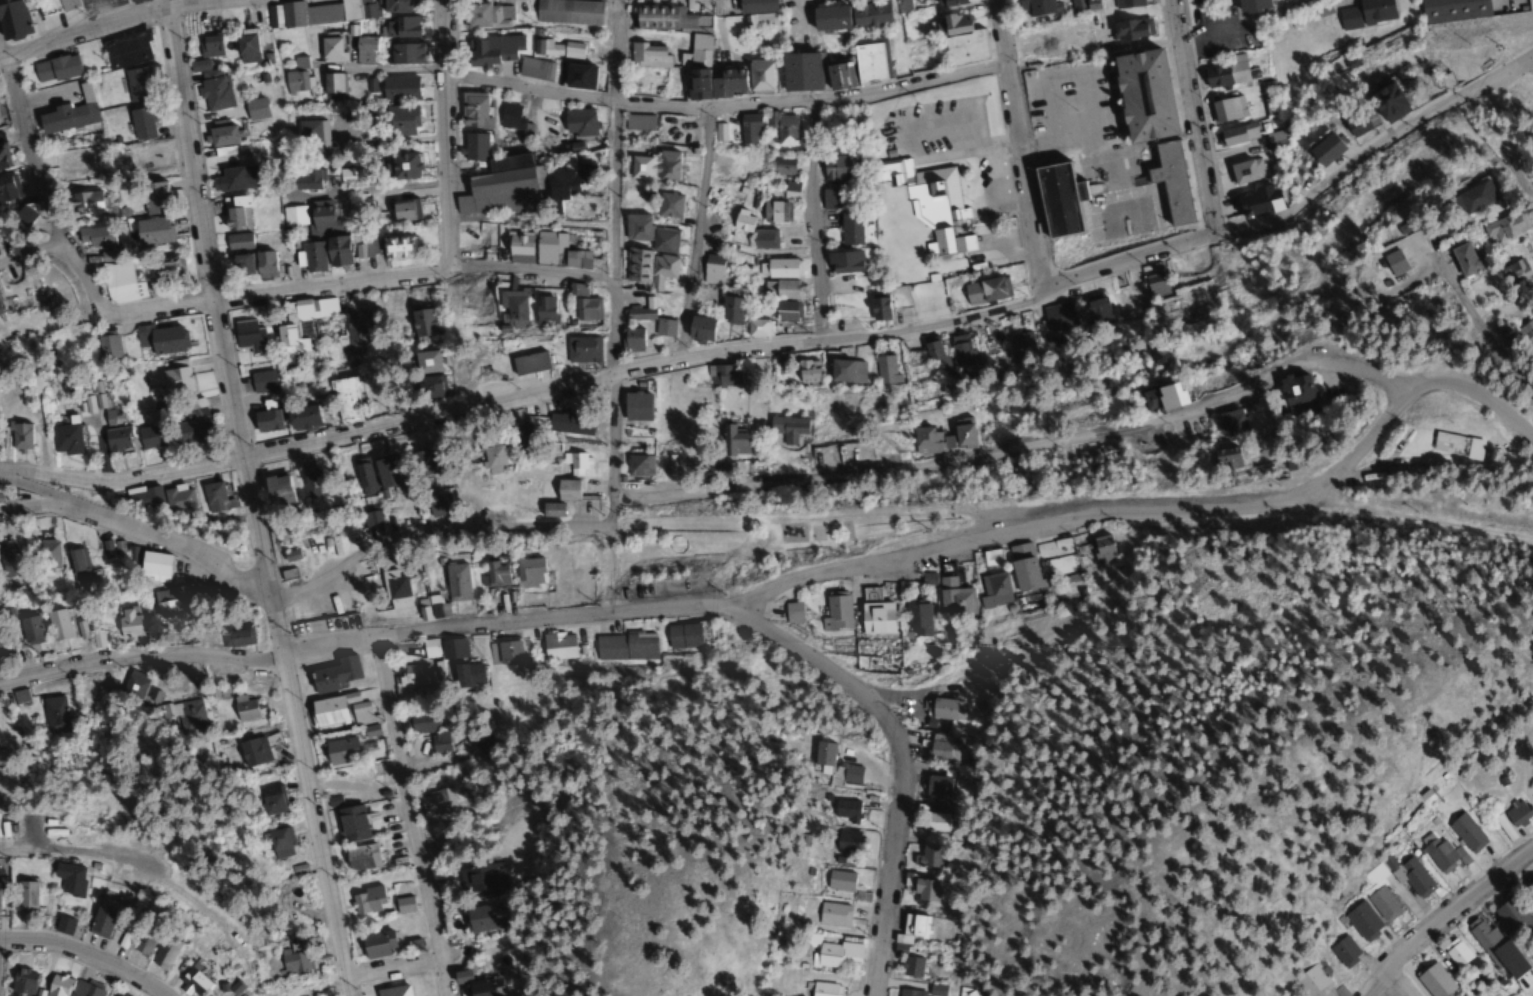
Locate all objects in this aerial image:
building: (949, 3)
building: (1126, 3)
building: (66, 4)
building: (393, 5)
parking lot: (1508, 5)
building: (902, 7)
building: (1036, 7)
building: (1249, 7)
building: (1453, 9)
building: (568, 11)
building: (316, 13)
building: (758, 13)
building: (1366, 13)
building: (487, 15)
building: (869, 16)
building: (661, 17)
building: (11, 18)
building: (828, 19)
road: (121, 22)
building: (703, 22)
building: (399, 26)
building: (1131, 28)
building: (962, 42)
building: (210, 45)
building: (245, 45)
building: (557, 48)
building: (127, 49)
building: (330, 49)
building: (492, 49)
building: (700, 49)
building: (363, 50)
road: (617, 52)
building: (404, 53)
building: (649, 55)
building: (870, 61)
building: (63, 66)
road: (383, 67)
building: (534, 68)
building: (799, 72)
building: (1224, 72)
building: (759, 75)
building: (577, 76)
building: (298, 77)
building: (837, 77)
building: (1443, 80)
building: (140, 81)
building: (713, 83)
building: (333, 86)
building: (214, 89)
building: (399, 89)
building: (1141, 94)
building: (1385, 102)
road: (726, 108)
building: (255, 109)
building: (1227, 109)
building: (472, 110)
building: (66, 116)
building: (400, 118)
building: (514, 119)
road: (1190, 119)
building: (1360, 120)
building: (141, 123)
building: (638, 123)
building: (580, 124)
building: (548, 125)
building: (785, 129)
building: (749, 130)
building: (719, 133)
building: (1237, 134)
building: (312, 135)
road: (443, 135)
building: (222, 138)
building: (1276, 139)
road: (1023, 145)
building: (1323, 148)
building: (546, 149)
road: (1374, 153)
building: (4, 157)
building: (403, 165)
building: (655, 167)
building: (781, 167)
building: (837, 168)
building: (74, 169)
building: (585, 169)
building: (1246, 170)
road: (1522, 173)
road: (37, 178)
building: (234, 179)
building: (1170, 181)
building: (509, 182)
building: (7, 188)
building: (790, 190)
road: (613, 191)
building: (1473, 195)
building: (155, 197)
building: (829, 198)
building: (1057, 198)
building: (1261, 200)
building: (88, 202)
building: (929, 202)
building: (667, 208)
building: (401, 209)
building: (774, 211)
building: (235, 212)
building: (22, 215)
road: (816, 219)
building: (741, 221)
building: (635, 227)
building: (850, 227)
building: (1503, 228)
building: (152, 231)
road: (696, 233)
building: (94, 236)
building: (323, 238)
building: (764, 238)
building: (663, 240)
building: (237, 242)
building: (397, 246)
building: (518, 247)
building: (556, 251)
road: (31, 254)
building: (1462, 258)
building: (844, 261)
building: (1392, 262)
building: (263, 263)
building: (238, 265)
building: (636, 265)
building: (782, 267)
building: (711, 269)
building: (1517, 269)
building: (661, 270)
building: (165, 271)
road: (354, 282)
building: (119, 283)
building: (1157, 285)
building: (783, 289)
building: (985, 289)
building: (1131, 299)
building: (583, 304)
building: (514, 305)
building: (1196, 305)
building: (878, 308)
building: (730, 309)
building: (1099, 309)
building: (544, 310)
building: (778, 310)
building: (641, 311)
building: (1059, 317)
building: (422, 322)
building: (302, 323)
building: (664, 327)
building: (756, 327)
building: (699, 328)
building: (1531, 332)
building: (354, 334)
building: (248, 336)
building: (160, 338)
building: (630, 339)
building: (1022, 343)
building: (107, 345)
building: (582, 349)
road: (729, 349)
building: (932, 350)
building: (961, 350)
building: (529, 363)
building: (807, 370)
building: (845, 370)
building: (886, 371)
building: (916, 372)
building: (429, 375)
building: (723, 375)
building: (175, 378)
building: (262, 381)
road: (612, 386)
building: (1294, 390)
building: (1157, 397)
building: (345, 399)
building: (635, 406)
building: (303, 417)
building: (265, 420)
building: (190, 422)
building: (1232, 422)
building: (570, 423)
building: (790, 428)
building: (962, 432)
building: (524, 436)
building: (18, 437)
building: (150, 437)
building: (116, 438)
building: (65, 439)
building: (930, 440)
building: (733, 441)
building: (1455, 445)
road: (1020, 448)
building: (455, 450)
building: (1098, 454)
building: (492, 457)
building: (1226, 459)
building: (428, 462)
building: (573, 464)
building: (638, 466)
building: (385, 473)
building: (363, 477)
road: (123, 484)
building: (275, 486)
building: (315, 486)
building: (566, 490)
road: (50, 498)
building: (143, 498)
building: (216, 498)
building: (177, 499)
road: (252, 504)
building: (439, 505)
building: (550, 510)
building: (371, 519)
road: (140, 529)
building: (1103, 548)
building: (47, 555)
building: (290, 556)
building: (10, 560)
building: (149, 562)
building: (77, 566)
building: (1024, 567)
building: (496, 573)
building: (530, 573)
building: (288, 575)
road: (795, 577)
building: (994, 581)
building: (456, 582)
building: (395, 586)
building: (955, 597)
building: (167, 608)
building: (837, 611)
building: (793, 612)
building: (876, 614)
building: (918, 620)
building: (127, 623)
building: (56, 624)
building: (29, 629)
building: (236, 636)
building: (683, 636)
building: (97, 638)
building: (558, 646)
building: (625, 647)
building: (506, 653)
building: (333, 674)
building: (468, 674)
building: (413, 675)
building: (133, 685)
building: (21, 697)
building: (244, 708)
building: (945, 709)
building: (326, 712)
building: (189, 714)
building: (54, 715)
building: (364, 719)
building: (420, 723)
building: (440, 742)
building: (483, 743)
building: (253, 750)
building: (942, 750)
building: (340, 751)
building: (821, 756)
road: (900, 761)
building: (851, 774)
building: (936, 787)
building: (1531, 796)
building: (271, 799)
building: (437, 803)
building: (844, 809)
building: (1516, 812)
road: (410, 817)
building: (933, 821)
building: (351, 823)
building: (1466, 832)
building: (278, 838)
building: (847, 841)
building: (1438, 853)
building: (928, 855)
building: (360, 858)
building: (298, 872)
building: (1414, 877)
building: (482, 878)
building: (69, 879)
building: (839, 880)
building: (1529, 886)
building: (924, 890)
building: (25, 895)
building: (367, 901)
building: (296, 902)
building: (1383, 904)
building: (404, 905)
building: (833, 915)
building: (1511, 916)
building: (101, 917)
road: (1444, 917)
building: (482, 918)
building: (1362, 921)
building: (61, 925)
building: (911, 929)
building: (121, 940)
building: (1487, 942)
building: (377, 945)
building: (1342, 951)
building: (162, 952)
building: (1455, 953)
building: (838, 954)
road: (85, 958)
building: (293, 958)
building: (913, 967)
road: (392, 968)
building: (1310, 980)
building: (20, 981)
building: (1433, 981)
building: (478, 985)
building: (67, 987)
building: (824, 989)
building: (394, 991)
building: (966, 992)
building: (910, 993)
building: (115, 994)

